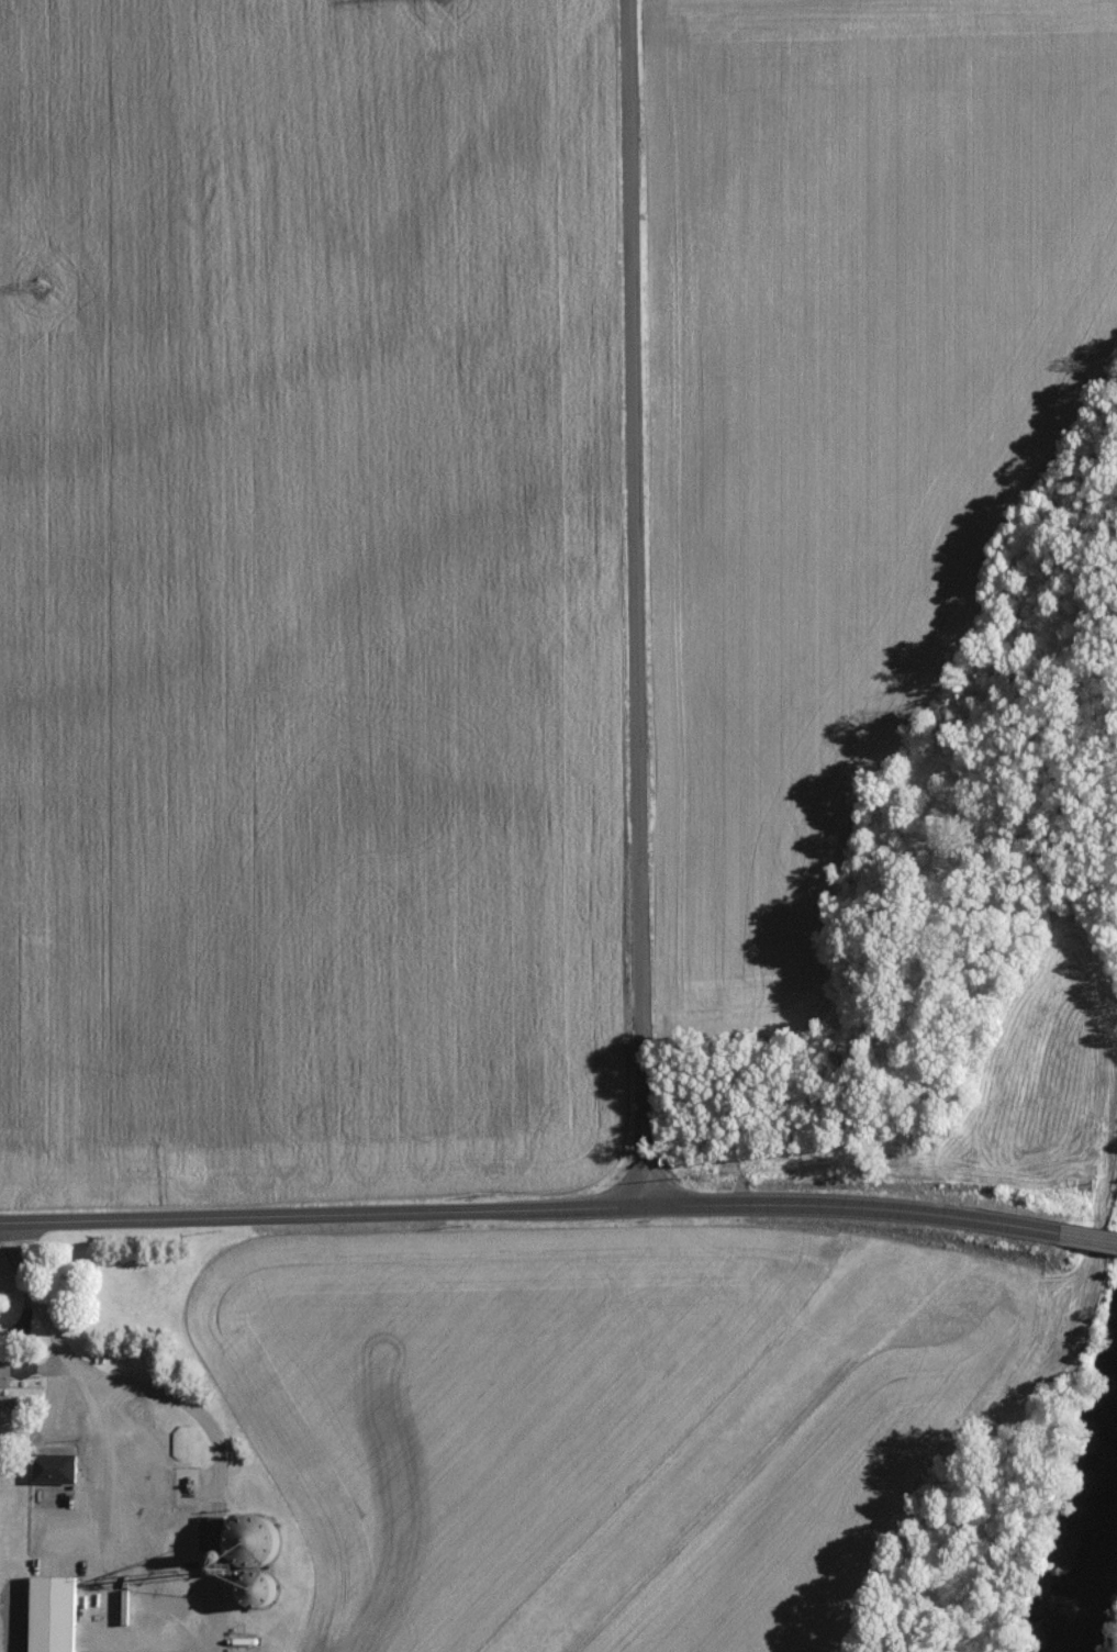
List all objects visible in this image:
power tower: (37, 270)
road: (632, 601)
road: (534, 1205)
road: (1092, 1236)
road: (21, 1321)
road: (101, 1429)
building: (47, 1467)
building: (237, 1560)
river: (1084, 1582)
building: (49, 1612)

